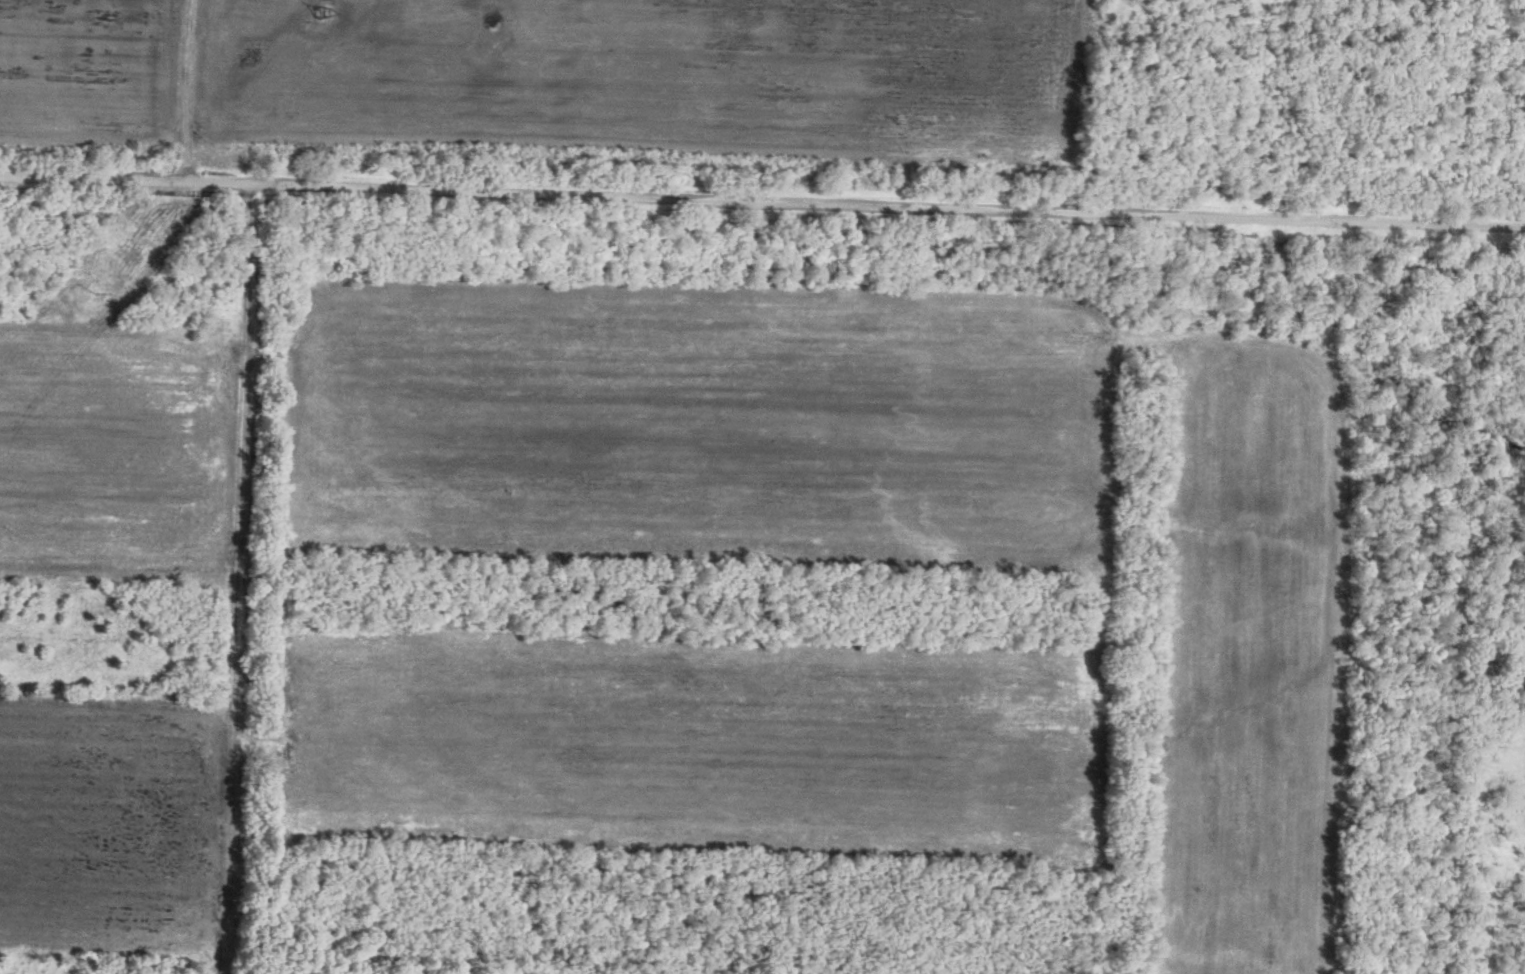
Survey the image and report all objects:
road: (762, 191)

